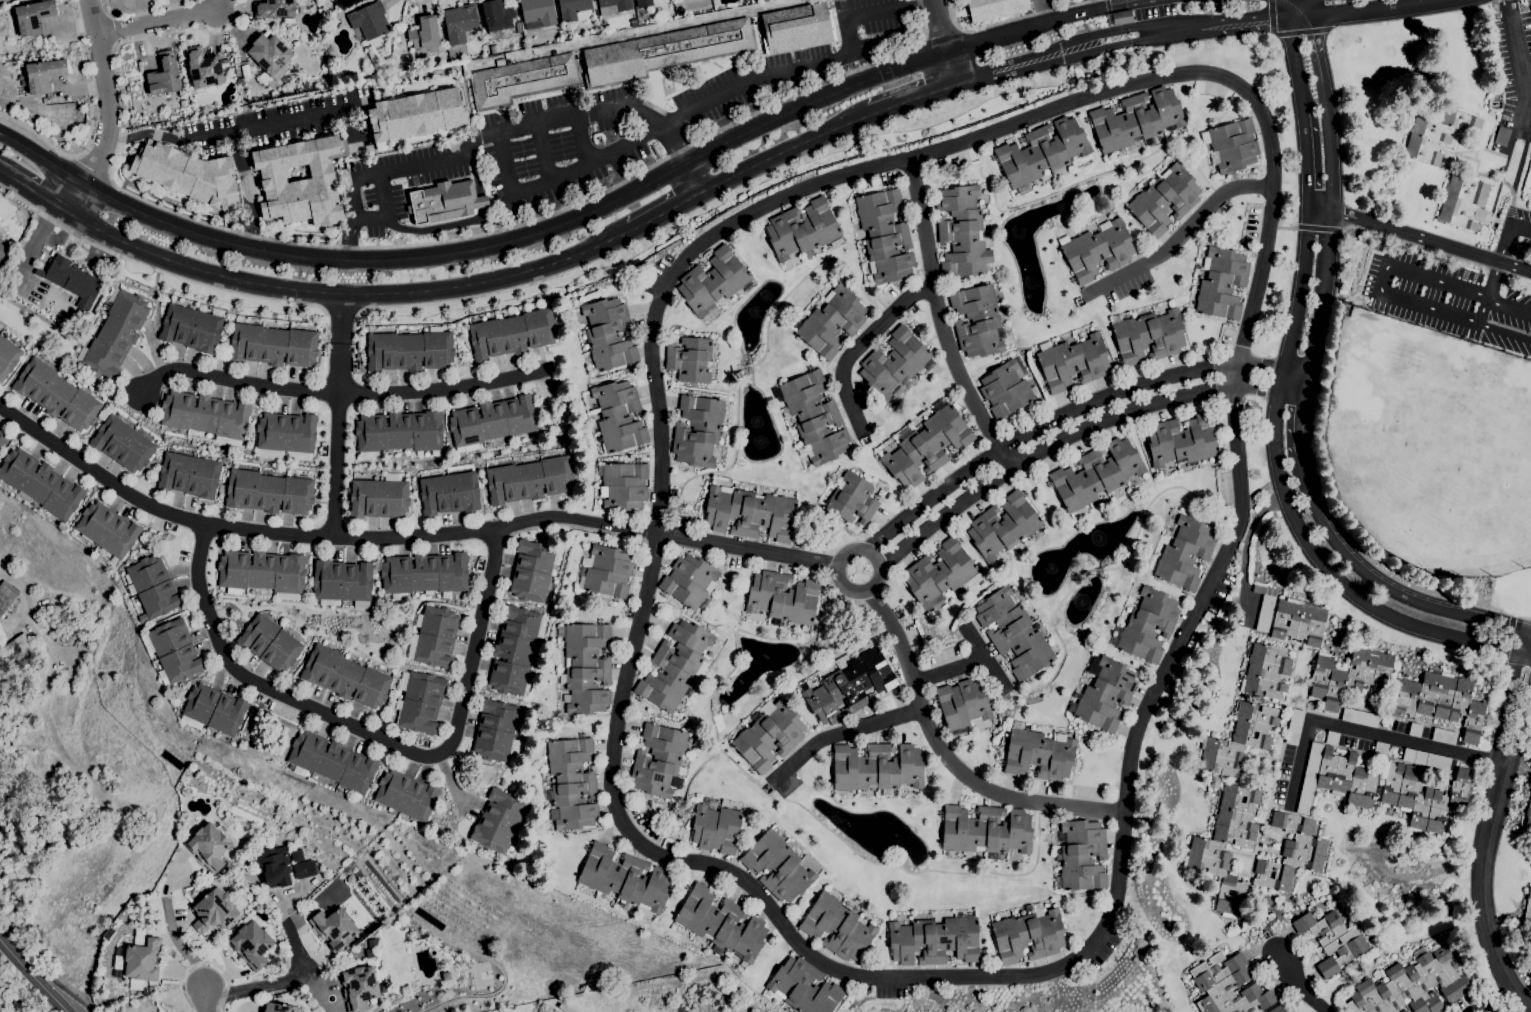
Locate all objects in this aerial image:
road: (1500, 0)
building: (649, 2)
road: (1140, 3)
road: (1093, 5)
building: (613, 6)
road: (1308, 6)
building: (274, 8)
building: (994, 8)
road: (142, 9)
building: (574, 10)
road: (1043, 11)
building: (537, 13)
road: (1288, 13)
building: (324, 14)
building: (33, 16)
building: (496, 18)
building: (1119, 18)
building: (644, 19)
building: (369, 20)
road: (156, 22)
building: (459, 22)
building: (633, 22)
road: (997, 24)
building: (517, 27)
building: (797, 27)
road: (939, 27)
road: (1034, 27)
building: (566, 31)
building: (424, 33)
road: (943, 34)
building: (400, 36)
road: (1515, 51)
building: (665, 52)
road: (1037, 53)
road: (1293, 53)
road: (1318, 53)
building: (269, 57)
road: (921, 62)
road: (807, 66)
building: (203, 68)
building: (245, 70)
road: (948, 70)
building: (329, 71)
building: (43, 74)
building: (164, 75)
building: (373, 75)
building: (523, 80)
building: (240, 82)
building: (303, 83)
building: (44, 100)
road: (910, 100)
road: (109, 110)
building: (415, 114)
building: (1136, 119)
road: (90, 124)
road: (271, 127)
road: (504, 130)
road: (147, 134)
building: (1436, 135)
building: (1501, 136)
road: (582, 140)
building: (1231, 145)
building: (1041, 152)
road: (543, 153)
road: (784, 153)
road: (1304, 158)
road: (93, 167)
building: (188, 174)
road: (559, 176)
building: (300, 181)
road: (249, 190)
road: (35, 192)
building: (1164, 199)
building: (444, 201)
building: (1464, 201)
road: (386, 210)
road: (664, 212)
road: (1285, 226)
road: (1317, 228)
building: (801, 229)
road: (1520, 230)
road: (1367, 231)
building: (962, 232)
building: (884, 235)
road: (76, 236)
road: (1180, 236)
road: (1418, 238)
road: (35, 242)
road: (1326, 243)
road: (409, 244)
road: (1503, 245)
building: (1098, 250)
building: (2, 251)
road: (453, 253)
road: (1440, 254)
flagpole: (79, 262)
road: (1340, 264)
road: (154, 268)
road: (1492, 271)
building: (38, 272)
road: (1517, 277)
road: (1380, 279)
building: (74, 281)
building: (712, 281)
road: (1492, 281)
building: (1221, 284)
road: (347, 294)
road: (458, 300)
road: (1509, 305)
road: (1483, 311)
road: (340, 312)
road: (340, 318)
road: (942, 319)
building: (977, 320)
building: (832, 322)
building: (192, 327)
road: (1505, 332)
building: (116, 333)
building: (512, 334)
building: (608, 334)
building: (1147, 336)
road: (859, 344)
building: (273, 345)
building: (410, 350)
building: (7, 357)
building: (689, 359)
building: (1073, 362)
building: (894, 365)
building: (1005, 389)
building: (56, 395)
road: (342, 396)
road: (1069, 412)
building: (206, 416)
building: (618, 416)
building: (812, 417)
building: (492, 421)
road: (1298, 421)
road: (658, 424)
building: (697, 430)
road: (1073, 431)
building: (399, 433)
building: (286, 435)
building: (2, 439)
road: (337, 440)
building: (1182, 440)
building: (493, 443)
building: (122, 444)
building: (926, 445)
park: (1440, 453)
building: (1096, 474)
building: (189, 475)
building: (529, 480)
building: (40, 484)
building: (622, 485)
building: (268, 492)
building: (449, 493)
building: (379, 497)
building: (852, 499)
road: (1285, 506)
building: (750, 512)
building: (1003, 526)
building: (107, 529)
road: (314, 536)
road: (747, 550)
road: (849, 551)
building: (1185, 553)
building: (532, 570)
building: (605, 571)
building: (262, 573)
building: (424, 574)
building: (939, 574)
road: (1375, 581)
building: (689, 582)
building: (342, 583)
building: (152, 588)
building: (6, 595)
building: (782, 598)
road: (1200, 600)
building: (1264, 607)
building: (1299, 621)
building: (54, 624)
building: (1147, 625)
road: (1528, 631)
building: (1014, 633)
building: (434, 637)
building: (269, 643)
building: (16, 647)
building: (515, 649)
building: (173, 651)
building: (29, 652)
road: (984, 658)
building: (675, 665)
building: (585, 667)
road: (950, 671)
building: (1265, 671)
building: (1349, 675)
building: (345, 677)
building: (849, 686)
building: (1104, 694)
building: (1439, 700)
building: (419, 701)
building: (962, 704)
building: (213, 709)
building: (33, 716)
building: (1359, 717)
building: (1294, 727)
building: (1415, 730)
building: (495, 731)
road: (1367, 732)
road: (372, 735)
road: (840, 735)
building: (769, 736)
building: (1444, 736)
building: (1331, 737)
building: (1239, 740)
building: (1381, 749)
building: (1038, 753)
road: (948, 758)
building: (1426, 759)
building: (658, 760)
building: (331, 762)
building: (876, 768)
building: (1309, 777)
building: (1346, 778)
building: (1529, 781)
building: (570, 783)
building: (406, 795)
building: (1423, 796)
road: (1493, 812)
building: (1528, 815)
building: (498, 821)
building: (188, 822)
building: (716, 828)
building: (985, 830)
building: (1226, 843)
building: (208, 847)
building: (1291, 853)
building: (296, 855)
building: (1082, 855)
building: (273, 866)
building: (777, 866)
building: (304, 870)
building: (624, 879)
building: (229, 889)
building: (1028, 907)
building: (213, 911)
building: (1527, 912)
building: (721, 924)
building: (837, 927)
building: (334, 928)
road: (175, 932)
building: (109, 933)
building: (1028, 935)
building: (934, 940)
building: (1332, 940)
building: (134, 941)
road: (2, 943)
building: (251, 944)
building: (138, 962)
road: (202, 963)
building: (743, 965)
road: (35, 980)
road: (275, 982)
building: (1415, 983)
road: (1297, 984)
building: (1227, 986)
building: (358, 987)
building: (803, 987)
building: (406, 991)
road: (1522, 999)
road: (1492, 1000)
road: (207, 1002)
building: (277, 1008)
building: (1277, 1009)
building: (1404, 1011)

